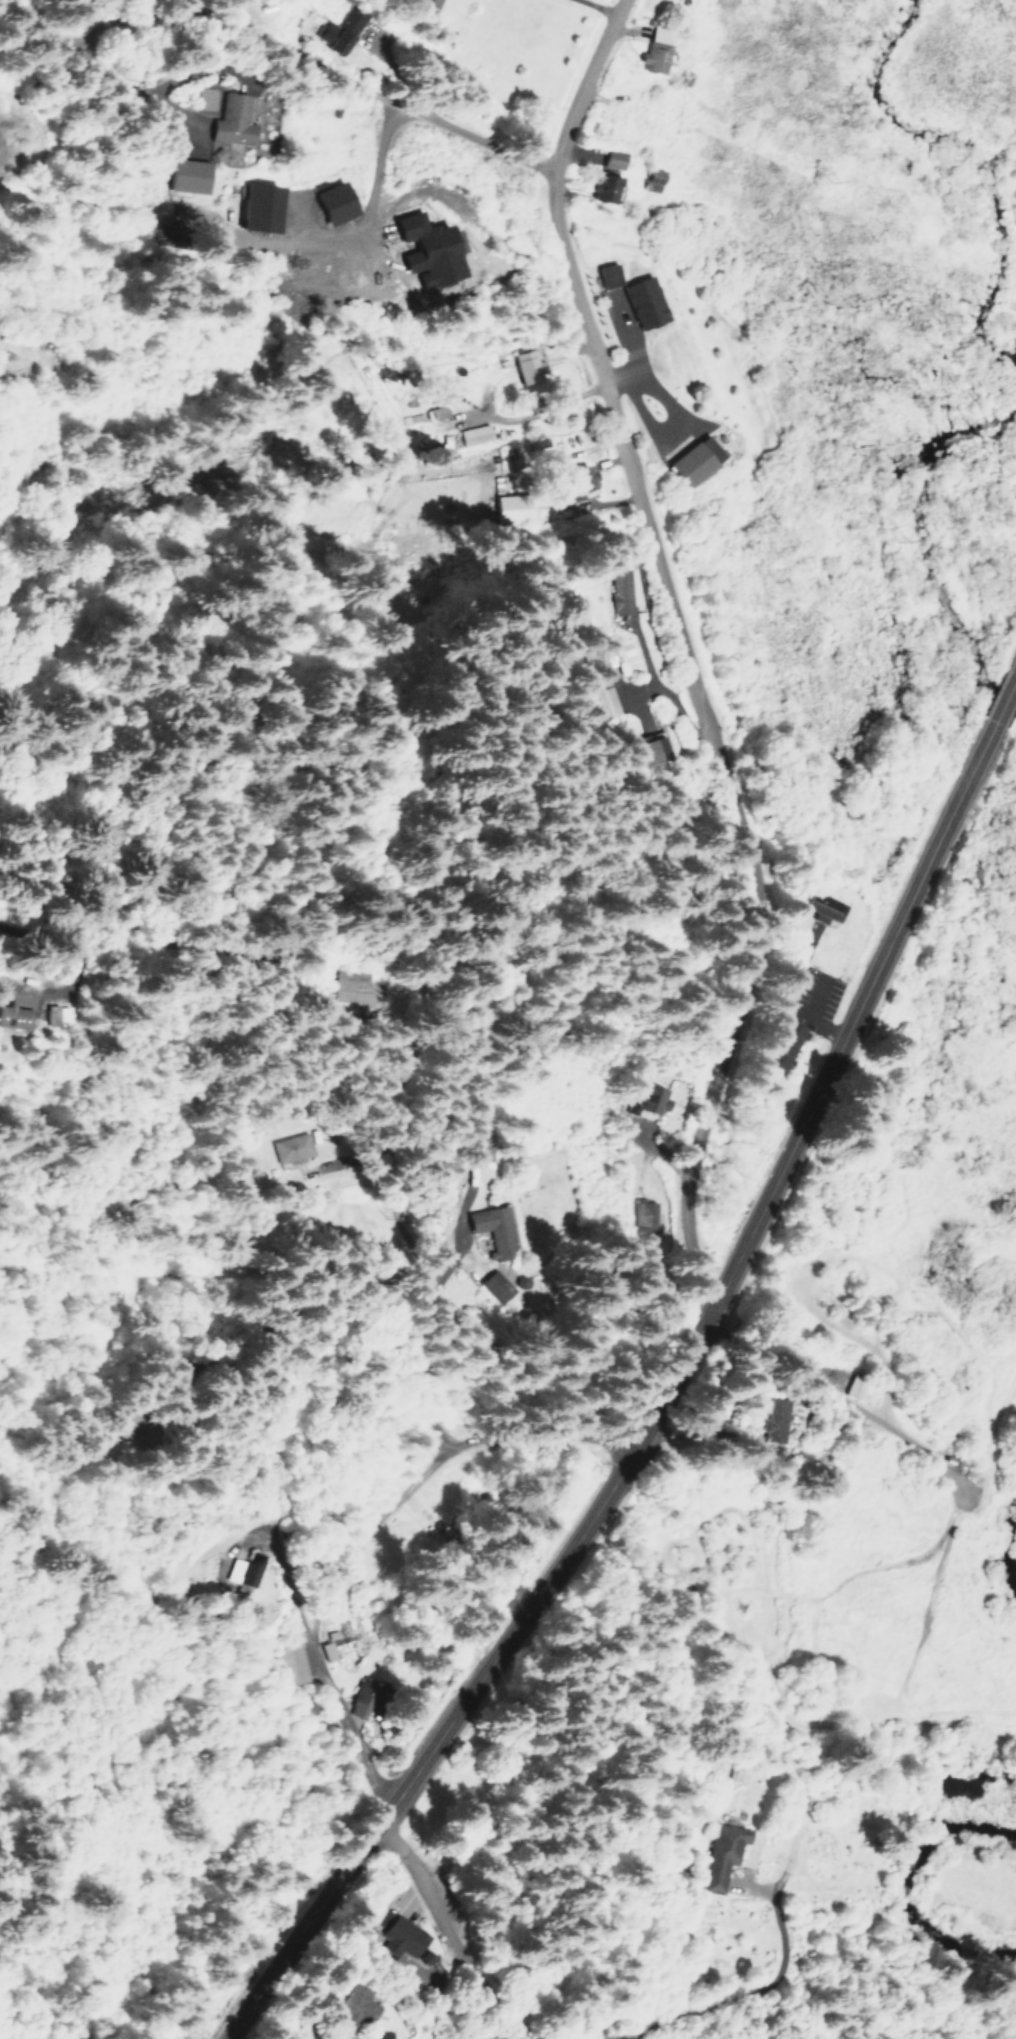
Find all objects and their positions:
building: (428, 2)
road: (586, 10)
building: (339, 30)
building: (655, 48)
road: (394, 99)
building: (230, 123)
road: (379, 158)
building: (611, 158)
building: (187, 175)
building: (650, 179)
building: (602, 187)
road: (433, 192)
building: (329, 201)
building: (254, 207)
building: (423, 249)
building: (607, 274)
building: (643, 301)
building: (526, 365)
building: (435, 411)
building: (473, 434)
building: (694, 459)
building: (576, 481)
building: (511, 507)
building: (615, 590)
road: (683, 644)
building: (590, 672)
building: (603, 701)
road: (1005, 702)
building: (645, 748)
building: (823, 907)
building: (351, 988)
building: (50, 1015)
building: (12, 1017)
building: (780, 1044)
building: (647, 1098)
building: (291, 1147)
building: (474, 1148)
building: (644, 1215)
building: (489, 1230)
road: (367, 1251)
building: (492, 1285)
building: (850, 1385)
road: (655, 1407)
building: (762, 1419)
road: (309, 1514)
building: (231, 1565)
building: (325, 1650)
building: (292, 1662)
building: (309, 1704)
building: (721, 1853)
building: (399, 1936)
building: (422, 1956)
building: (343, 2001)
building: (370, 2033)

